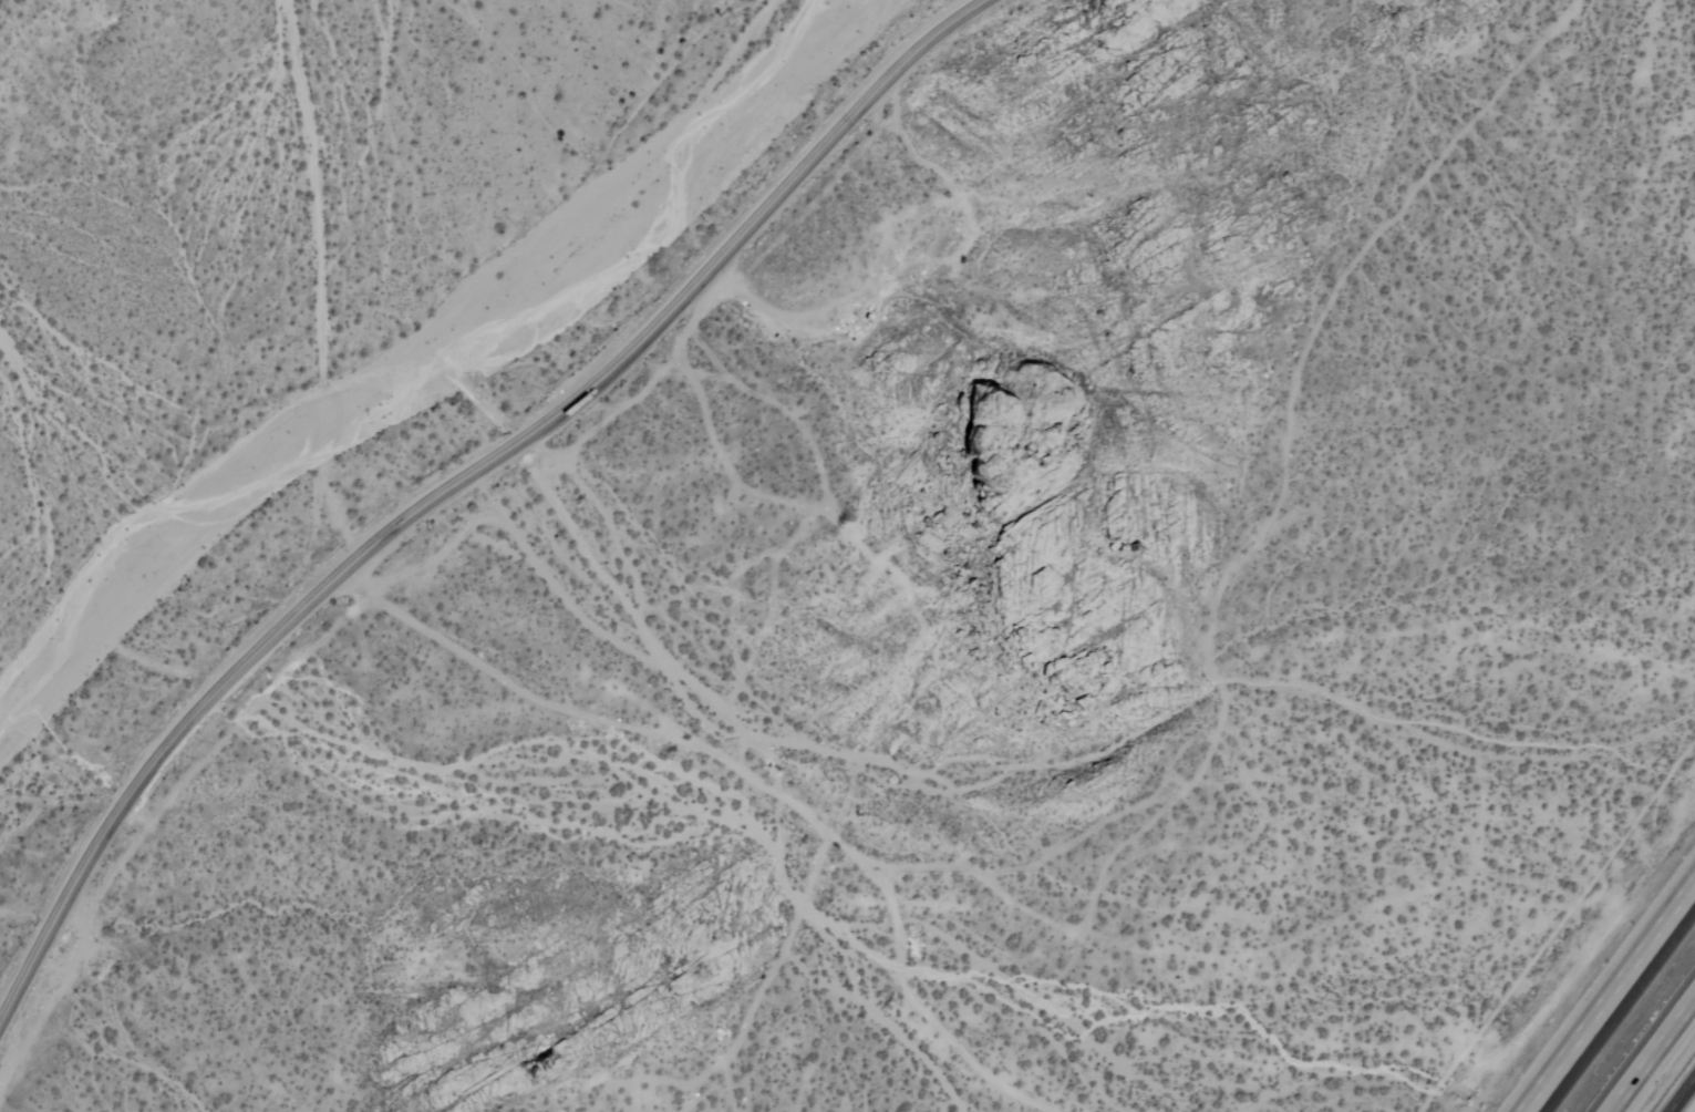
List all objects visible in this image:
road: (456, 480)
road: (1612, 999)
railway: (1632, 1027)
road: (1647, 1049)
road: (1683, 1096)

